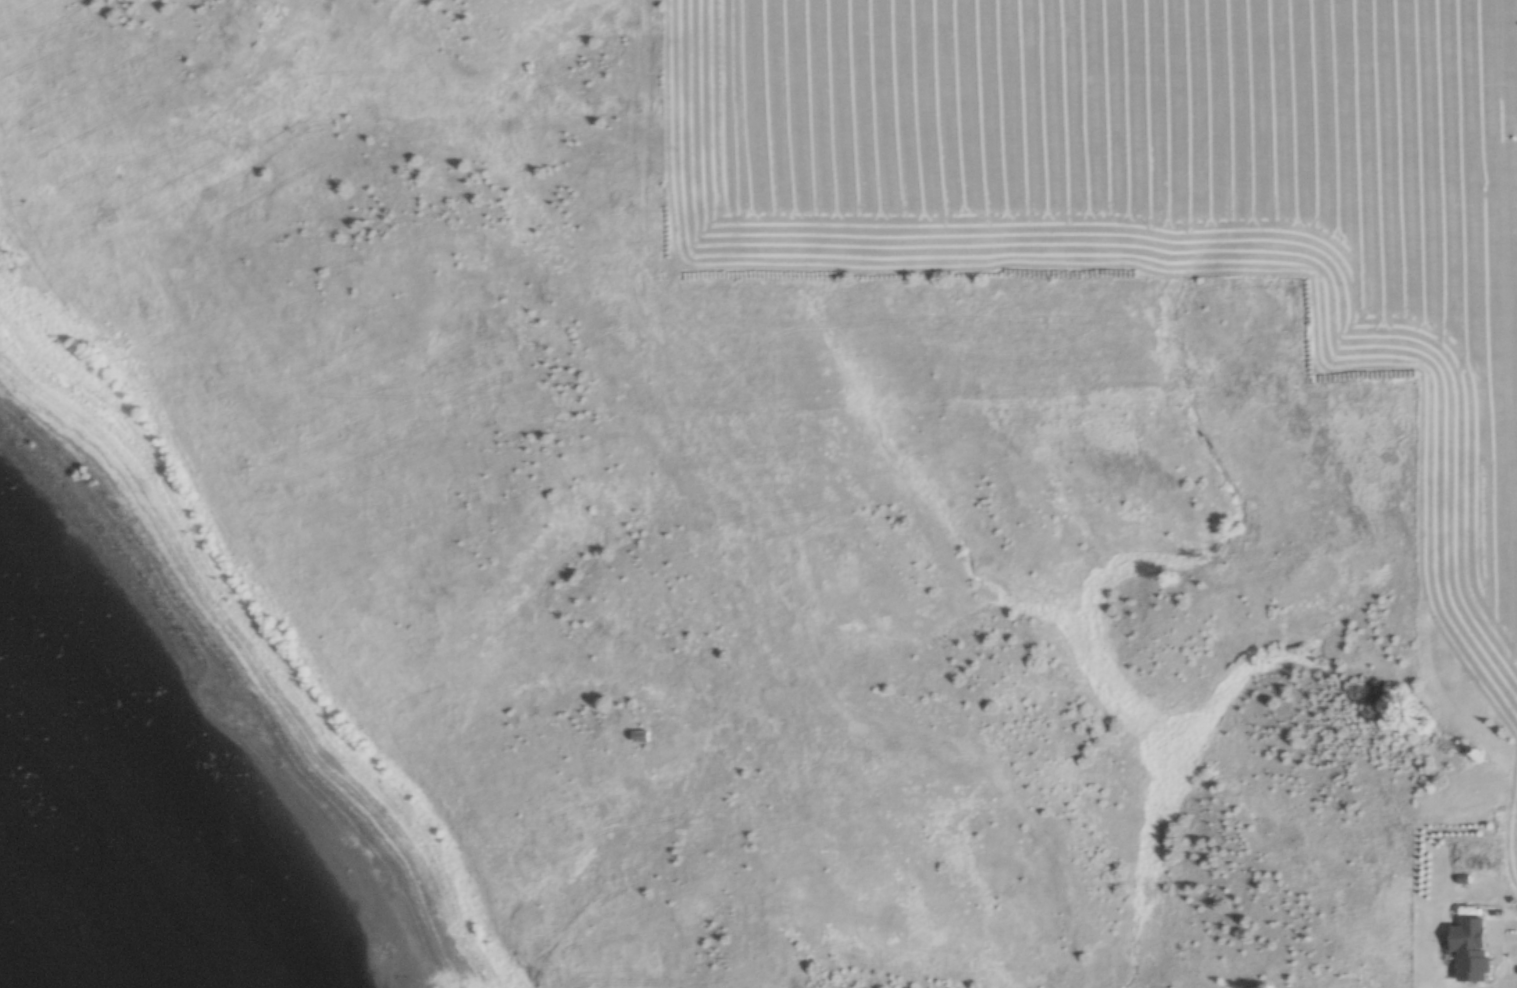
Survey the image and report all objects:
building: (643, 736)
building: (1475, 948)

